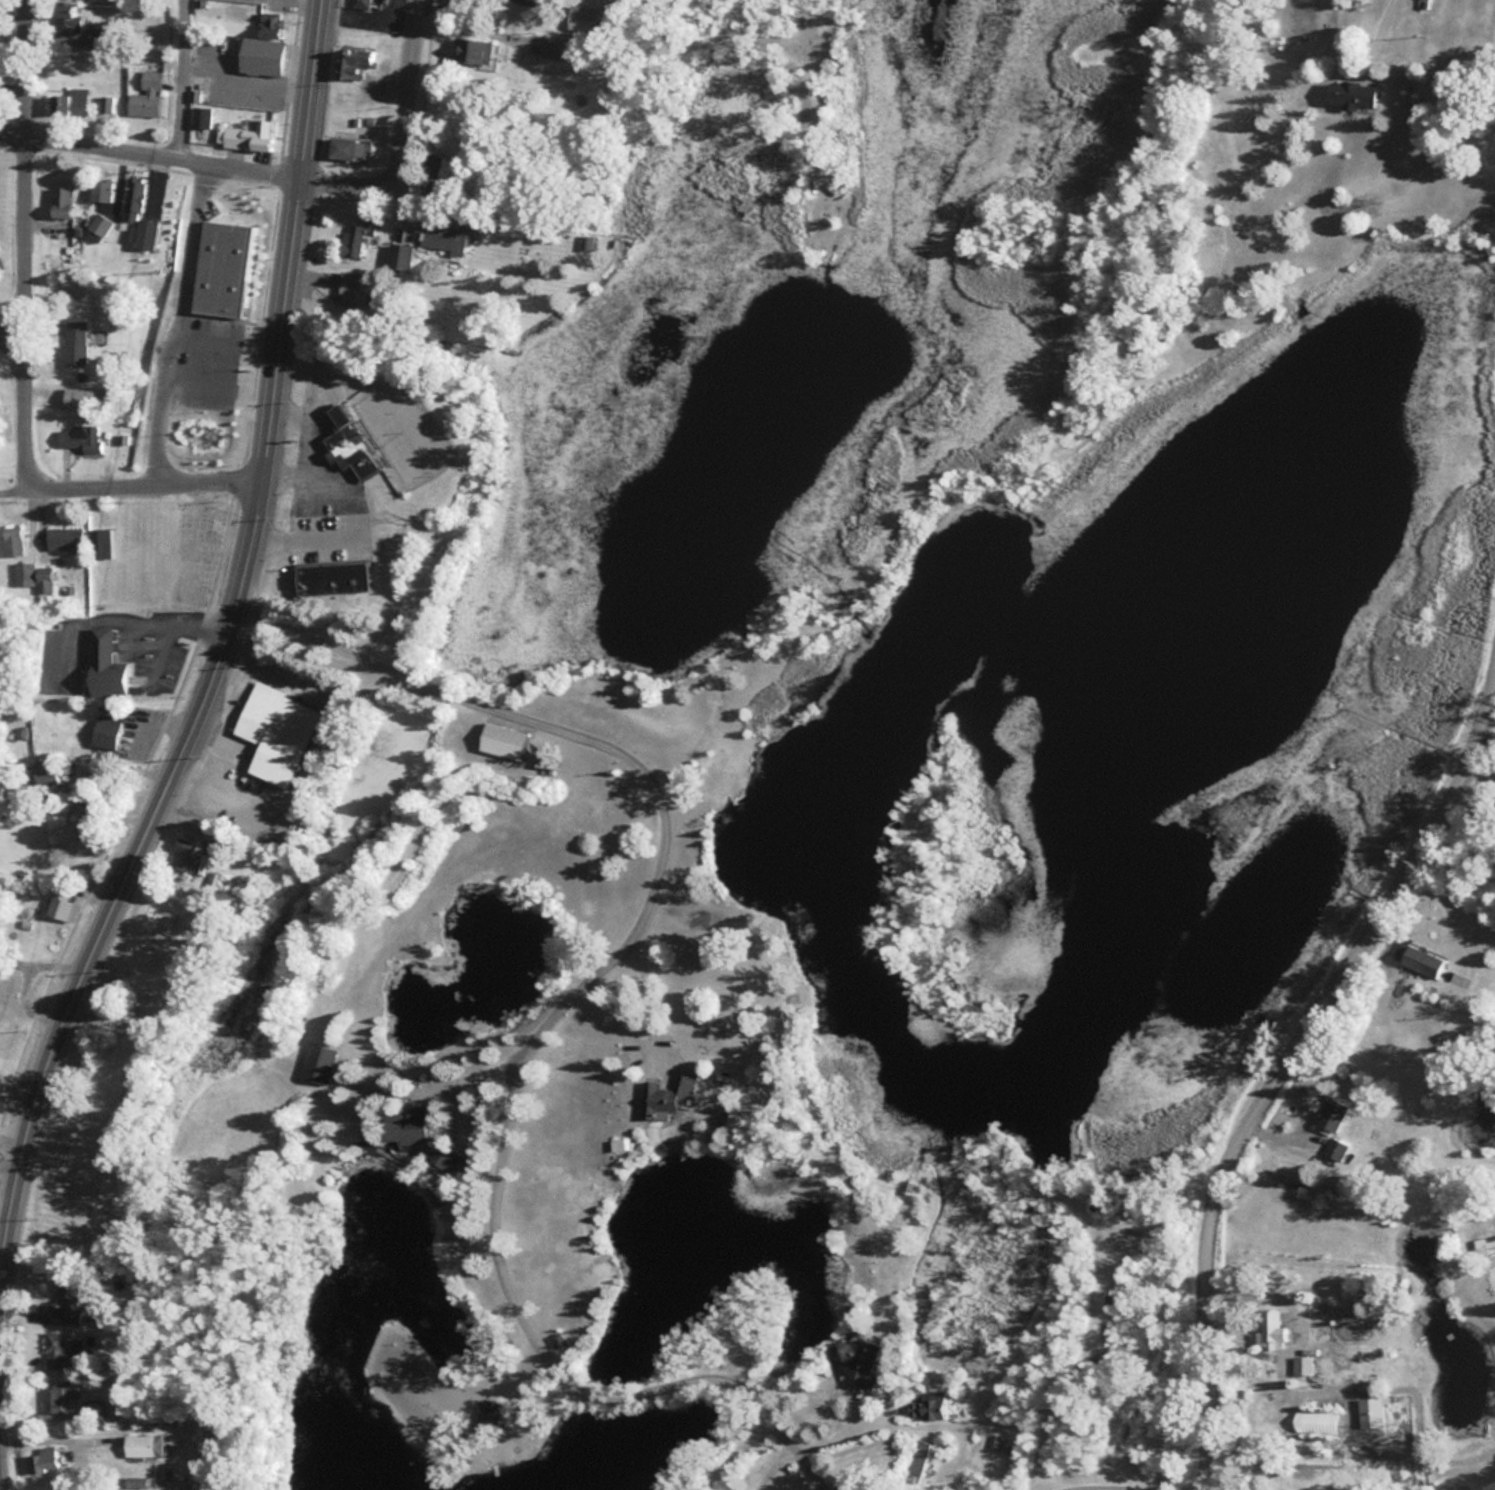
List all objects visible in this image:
building: (360, 3)
building: (67, 20)
road: (1373, 29)
building: (263, 46)
building: (550, 48)
building: (477, 52)
building: (350, 74)
road: (173, 76)
building: (1350, 95)
building: (145, 97)
building: (67, 102)
building: (106, 105)
road: (13, 127)
road: (398, 134)
building: (249, 136)
building: (348, 148)
road: (161, 150)
building: (100, 188)
building: (133, 196)
building: (61, 200)
building: (98, 223)
building: (438, 233)
building: (355, 235)
road: (27, 244)
building: (399, 255)
building: (223, 265)
road: (174, 317)
road: (10, 336)
building: (73, 343)
building: (77, 397)
building: (191, 407)
building: (78, 436)
building: (344, 443)
road: (127, 479)
building: (65, 537)
building: (13, 539)
building: (99, 542)
building: (34, 574)
building: (328, 579)
road: (223, 635)
building: (103, 654)
building: (105, 731)
building: (272, 733)
building: (502, 740)
building: (42, 773)
road: (1481, 773)
building: (202, 775)
building: (59, 903)
building: (1421, 960)
building: (8, 982)
road: (564, 1003)
building: (317, 1063)
road: (1280, 1067)
building: (663, 1096)
building: (1332, 1114)
building: (404, 1124)
building: (1335, 1148)
building: (446, 1158)
building: (68, 1302)
building: (1272, 1330)
building: (54, 1350)
building: (854, 1359)
building: (1302, 1365)
building: (52, 1400)
building: (922, 1405)
building: (486, 1414)
road: (882, 1423)
building: (143, 1445)
building: (49, 1459)
building: (917, 1461)
road: (768, 1466)
road: (1117, 1487)

